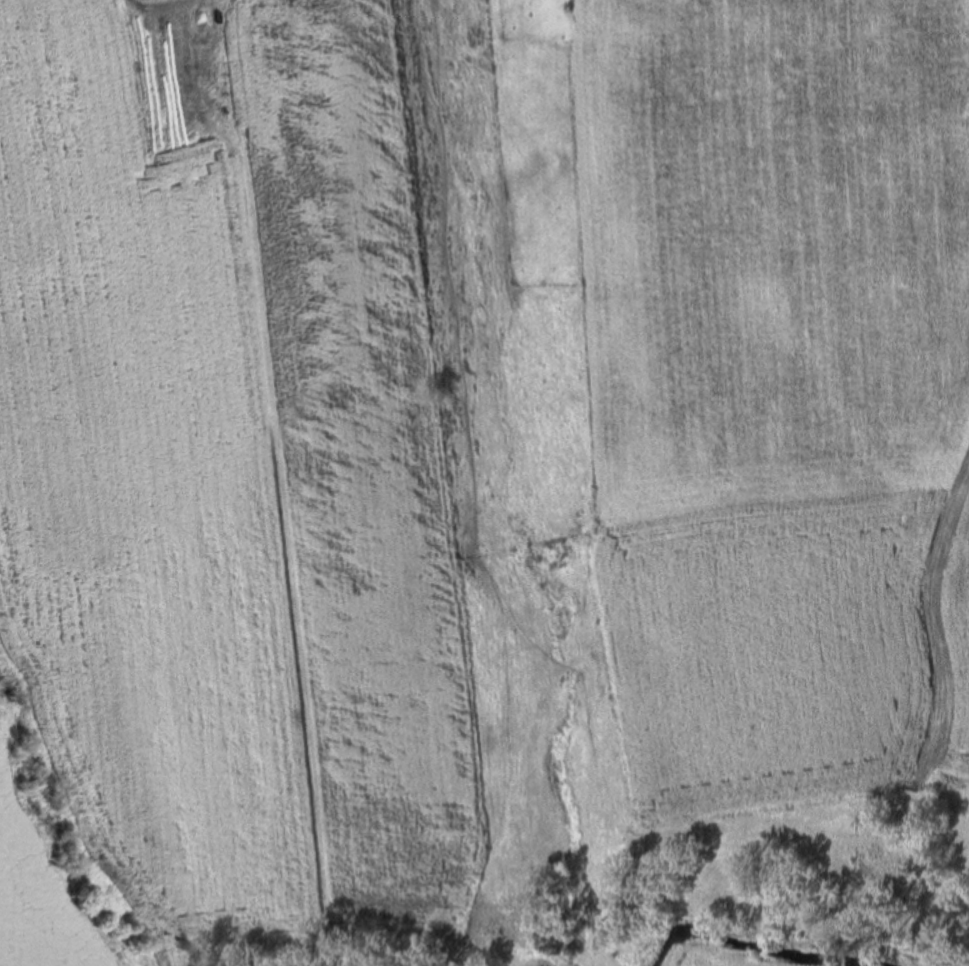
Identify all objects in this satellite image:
river: (752, 945)

